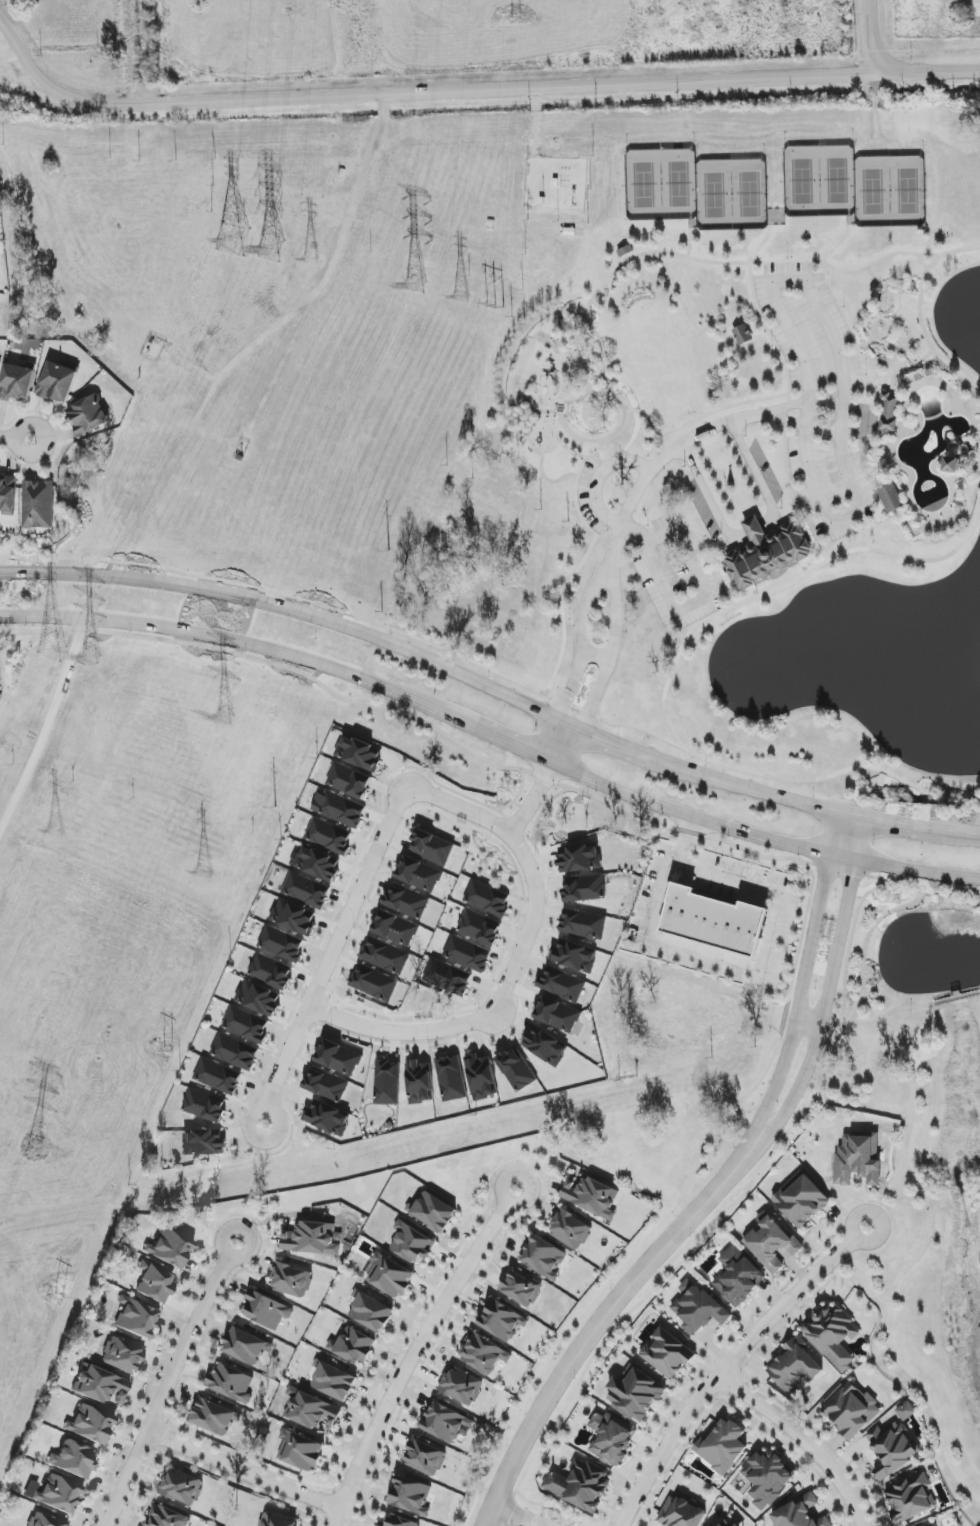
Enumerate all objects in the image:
road: (364, 9)
power tower: (516, 20)
road: (876, 37)
road: (122, 52)
road: (928, 73)
road: (372, 76)
road: (419, 93)
park: (837, 180)
park: (802, 181)
park: (645, 185)
park: (680, 185)
park: (908, 191)
park: (873, 192)
park: (750, 194)
park: (715, 195)
power tower: (231, 239)
power tower: (268, 254)
road: (933, 254)
road: (630, 258)
power tower: (312, 261)
road: (817, 262)
park: (868, 265)
road: (750, 272)
road: (322, 285)
power tower: (413, 288)
road: (896, 294)
park: (690, 296)
road: (229, 298)
power tower: (459, 298)
road: (842, 310)
power tower: (493, 313)
road: (552, 313)
road: (920, 313)
road: (757, 326)
building: (742, 335)
road: (831, 337)
road: (908, 355)
building: (0, 362)
road: (183, 364)
road: (895, 371)
building: (16, 382)
building: (57, 382)
road: (881, 389)
road: (739, 404)
road: (789, 408)
water park: (910, 408)
building: (890, 413)
building: (88, 415)
road: (802, 416)
road: (788, 421)
road: (870, 430)
road: (17, 438)
road: (787, 454)
road: (664, 458)
building: (956, 458)
road: (807, 471)
road: (600, 475)
power tower: (127, 480)
building: (8, 495)
building: (891, 498)
building: (38, 505)
road: (163, 507)
road: (753, 530)
road: (816, 536)
road: (736, 545)
building: (768, 553)
power tower: (387, 556)
road: (610, 570)
road: (699, 577)
road: (292, 611)
road: (233, 640)
road: (597, 656)
power tower: (88, 658)
road: (561, 661)
road: (671, 672)
road: (32, 703)
road: (43, 715)
power tower: (221, 718)
power tower: (14, 736)
road: (503, 741)
road: (615, 741)
building: (359, 753)
road: (543, 780)
building: (349, 781)
road: (749, 786)
road: (926, 797)
power tower: (277, 802)
traffic signals: (836, 807)
building: (339, 809)
traffic signals: (860, 813)
road: (906, 822)
road: (979, 832)
power tower: (49, 834)
building: (329, 836)
road: (761, 837)
building: (432, 847)
traffic signals: (828, 856)
road: (764, 857)
building: (581, 859)
traffic signals: (858, 862)
road: (811, 863)
building: (317, 864)
power tower: (203, 873)
building: (419, 875)
building: (585, 889)
building: (306, 890)
road: (773, 894)
building: (487, 899)
building: (407, 901)
building: (294, 917)
building: (714, 920)
building: (583, 924)
building: (396, 928)
building: (480, 928)
road: (869, 930)
building: (282, 944)
road: (669, 945)
building: (467, 954)
road: (331, 955)
building: (575, 956)
building: (385, 957)
road: (514, 964)
building: (271, 971)
building: (448, 978)
road: (801, 978)
building: (374, 983)
building: (562, 985)
road: (830, 989)
road: (979, 991)
road: (955, 997)
building: (259, 998)
road: (869, 1006)
road: (906, 1007)
road: (855, 1010)
building: (558, 1015)
road: (807, 1024)
building: (246, 1025)
building: (545, 1046)
power tower: (168, 1051)
building: (235, 1052)
building: (339, 1058)
building: (516, 1070)
building: (217, 1077)
building: (480, 1077)
building: (451, 1078)
building: (387, 1082)
building: (419, 1082)
building: (326, 1084)
building: (205, 1106)
building: (327, 1118)
building: (203, 1143)
power tower: (33, 1149)
building: (857, 1159)
building: (591, 1197)
building: (801, 1200)
road: (729, 1205)
building: (433, 1212)
building: (571, 1230)
building: (313, 1239)
building: (412, 1244)
road: (925, 1247)
building: (170, 1248)
building: (543, 1257)
building: (390, 1277)
building: (738, 1277)
road: (866, 1278)
building: (292, 1281)
building: (155, 1284)
building: (522, 1288)
power tower: (59, 1298)
building: (698, 1308)
building: (267, 1311)
building: (371, 1312)
building: (137, 1318)
building: (502, 1321)
road: (597, 1322)
building: (833, 1335)
building: (246, 1346)
building: (354, 1346)
road: (415, 1350)
building: (483, 1353)
building: (667, 1354)
building: (122, 1355)
road: (727, 1363)
building: (795, 1367)
building: (334, 1381)
road: (171, 1383)
building: (231, 1383)
building: (101, 1386)
building: (462, 1387)
building: (635, 1394)
building: (311, 1410)
building: (851, 1410)
building: (906, 1411)
building: (215, 1417)
building: (445, 1422)
building: (91, 1424)
building: (612, 1438)
road: (801, 1438)
building: (722, 1447)
building: (892, 1449)
building: (300, 1451)
building: (425, 1458)
building: (75, 1459)
road: (246, 1471)
building: (767, 1478)
building: (580, 1485)
building: (182, 1487)
building: (59, 1494)
building: (410, 1496)
building: (909, 1498)
building: (681, 1513)
building: (800, 1513)
road: (513, 1516)
building: (167, 1517)
building: (278, 1520)
building: (396, 1521)
building: (722, 1525)
building: (736, 1525)

